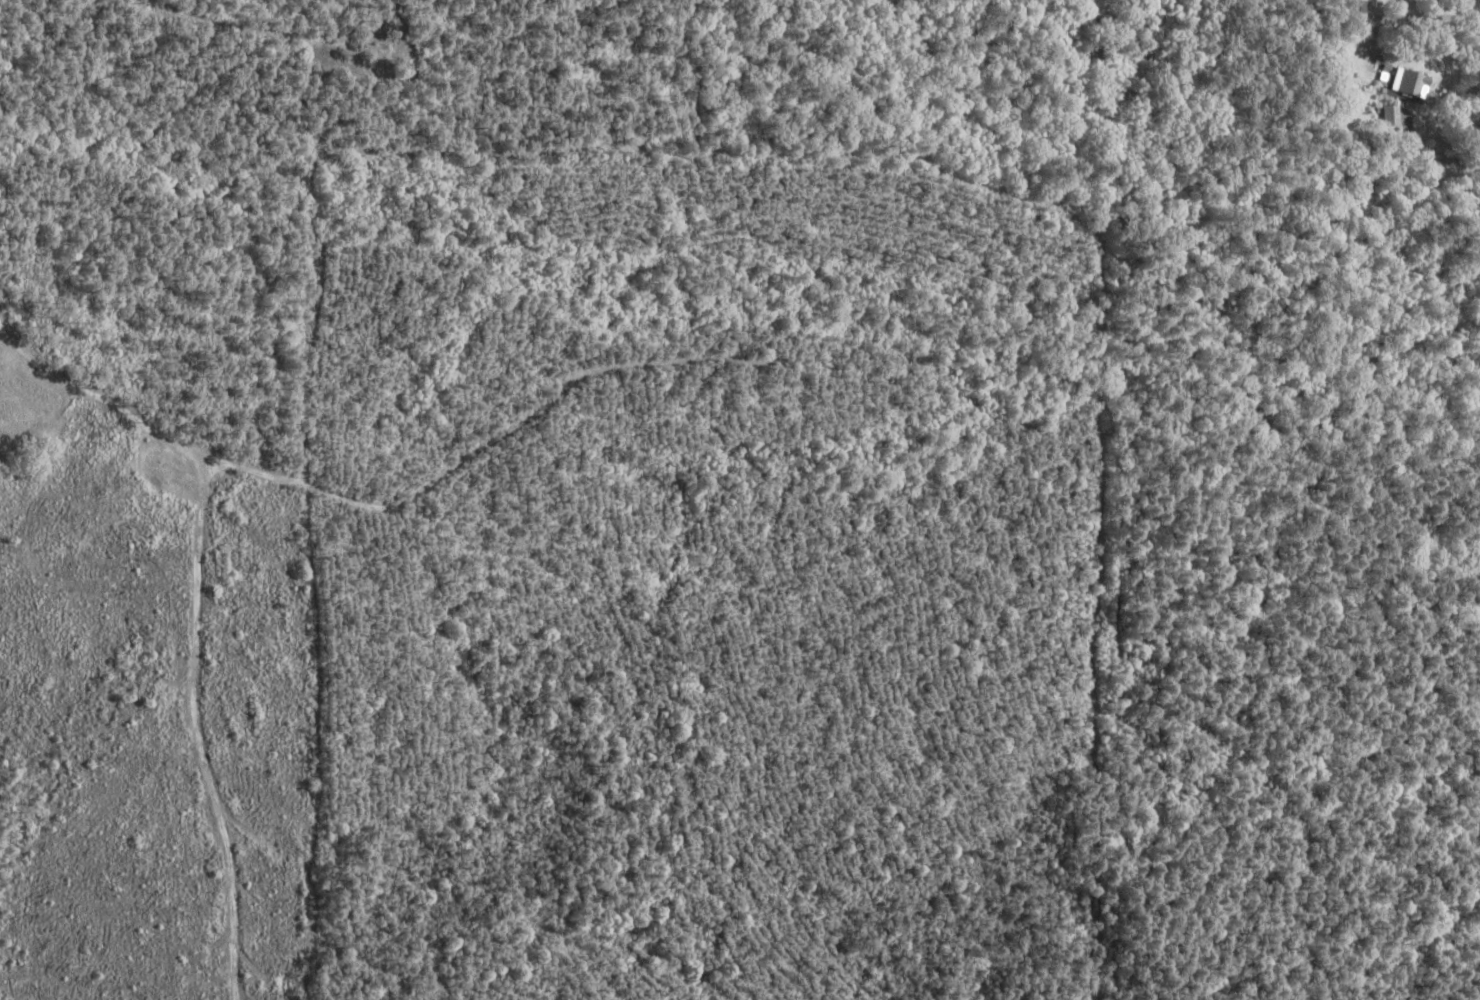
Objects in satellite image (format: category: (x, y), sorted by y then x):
building: (1356, 11)
building: (1354, 42)
building: (1407, 81)
building: (1391, 113)
building: (1381, 155)
road: (1426, 158)

